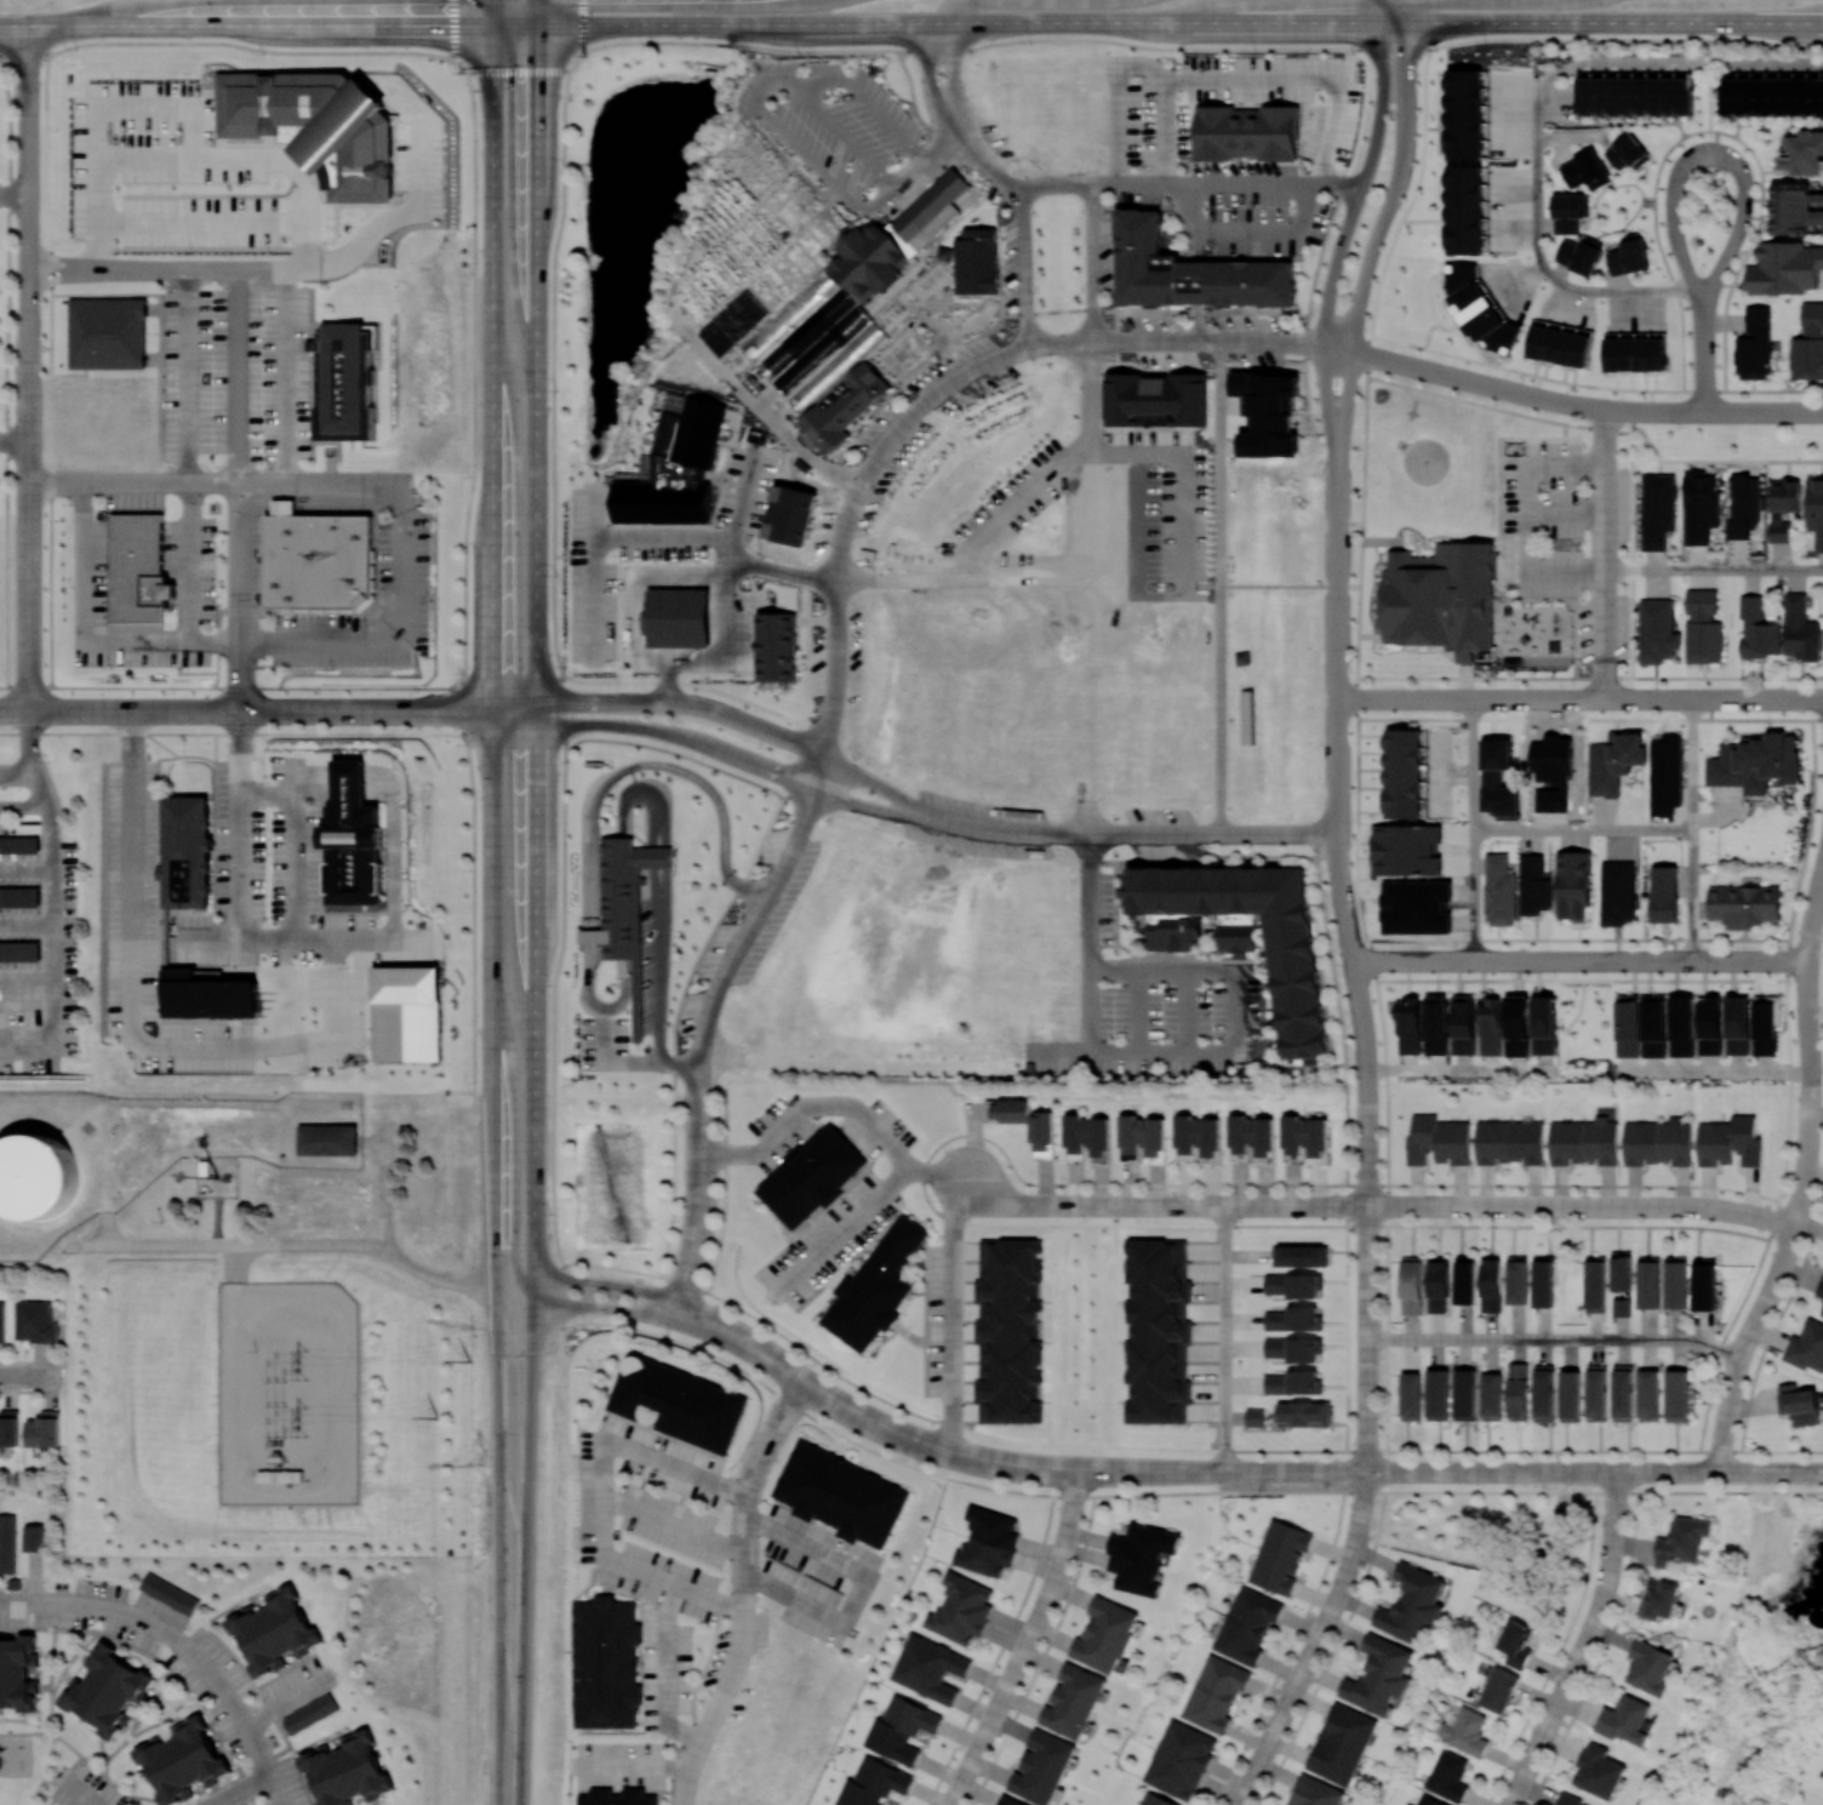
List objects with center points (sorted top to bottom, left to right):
road: (492, 12)
road: (537, 12)
road: (1406, 21)
road: (1179, 23)
road: (245, 24)
traffic signals: (442, 24)
road: (514, 24)
road: (1383, 25)
road: (583, 27)
road: (452, 30)
road: (930, 38)
road: (907, 52)
road: (27, 53)
road: (954, 73)
traffic signals: (537, 80)
road: (810, 80)
road: (1223, 80)
building: (1772, 95)
building: (1634, 96)
road: (1536, 101)
road: (189, 113)
building: (1465, 114)
parking lot: (836, 120)
building: (324, 128)
road: (1167, 130)
building: (1247, 131)
road: (789, 136)
road: (1710, 149)
building: (1627, 152)
building: (1804, 153)
road: (1679, 164)
road: (913, 168)
building: (1585, 170)
road: (1147, 182)
road: (1048, 183)
road: (13, 192)
road: (1669, 199)
road: (1355, 200)
road: (1389, 200)
road: (1647, 201)
parking lot: (1239, 204)
road: (1535, 204)
building: (1795, 207)
building: (1465, 209)
park: (1679, 209)
road: (1594, 210)
building: (1570, 212)
road: (400, 217)
road: (1023, 224)
road: (1246, 230)
road: (1737, 230)
park: (1406, 238)
building: (1579, 255)
building: (1629, 255)
building: (976, 259)
road: (1681, 261)
road: (1741, 264)
building: (1784, 268)
building: (1190, 272)
road: (164, 274)
road: (1198, 285)
road: (1623, 291)
building: (841, 302)
building: (1478, 309)
building: (109, 333)
parking lot: (1204, 338)
road: (1270, 342)
building: (1755, 344)
building: (1808, 344)
building: (1560, 345)
road: (1336, 349)
road: (1702, 350)
building: (1635, 354)
road: (1394, 362)
road: (1471, 382)
road: (1571, 382)
road: (242, 384)
road: (291, 384)
building: (348, 384)
road: (1773, 390)
road: (1090, 395)
road: (29, 396)
building: (1156, 399)
road: (1326, 404)
road: (1572, 404)
building: (845, 406)
road: (1344, 407)
road: (1762, 411)
building: (1268, 412)
road: (1670, 412)
road: (897, 425)
road: (1599, 430)
parking lot: (907, 433)
road: (15, 439)
park: (1731, 440)
road: (804, 449)
road: (1136, 452)
building: (686, 453)
road: (192, 458)
road: (135, 489)
parking lot: (1006, 499)
building: (1699, 505)
building: (1743, 505)
building: (1783, 507)
building: (1815, 508)
building: (664, 510)
building: (1657, 510)
road: (593, 512)
road: (1565, 513)
road: (1527, 515)
parking lot: (1183, 521)
road: (1182, 522)
road: (601, 536)
parking lot: (1570, 539)
road: (1635, 546)
road: (492, 549)
road: (1219, 550)
road: (1604, 553)
road: (730, 556)
building: (319, 560)
building: (136, 567)
road: (1713, 570)
road: (901, 578)
road: (998, 579)
road: (1337, 581)
road: (1271, 587)
road: (629, 592)
building: (1444, 598)
road: (240, 602)
road: (1359, 609)
building: (682, 619)
gas station: (682, 619)
building: (1703, 627)
building: (1758, 629)
building: (1800, 629)
building: (1657, 630)
road: (330, 644)
road: (733, 647)
building: (777, 650)
gas station: (777, 650)
building: (1468, 658)
road: (461, 676)
road: (1590, 679)
road: (229, 686)
road: (1404, 698)
road: (1528, 698)
road: (1612, 698)
road: (1644, 698)
road: (1667, 698)
road: (1687, 698)
road: (556, 699)
road: (1756, 699)
road: (548, 702)
road: (513, 706)
road: (473, 710)
road: (15, 712)
road: (59, 712)
road: (272, 712)
building: (1246, 716)
road: (513, 718)
road: (755, 726)
road: (30, 731)
road: (678, 735)
building: (935, 755)
building: (1615, 761)
road: (1471, 762)
building: (1755, 762)
road: (1336, 766)
road: (19, 771)
road: (818, 773)
building: (1404, 773)
building: (1667, 775)
building: (1498, 776)
road: (40, 778)
road: (1691, 778)
road: (703, 781)
road: (1221, 796)
road: (25, 806)
road: (870, 806)
road: (624, 810)
road: (1528, 828)
road: (1612, 828)
road: (1644, 829)
road: (1669, 829)
road: (1001, 830)
road: (1093, 834)
road: (1167, 834)
road: (1279, 834)
road: (290, 838)
building: (353, 839)
building: (19, 844)
building: (1406, 849)
building: (185, 850)
road: (665, 867)
road: (1822, 867)
road: (653, 875)
building: (1572, 884)
building: (1533, 885)
building: (1499, 890)
road: (393, 892)
building: (625, 892)
building: (1617, 892)
building: (1664, 893)
road: (1471, 895)
building: (19, 896)
road: (588, 896)
road: (598, 897)
road: (1342, 898)
building: (1744, 904)
road: (1691, 909)
road: (535, 914)
road: (1817, 915)
road: (1811, 918)
parking lot: (748, 929)
road: (747, 931)
building: (1247, 932)
building: (592, 935)
road: (56, 948)
building: (21, 950)
road: (1412, 961)
road: (1556, 961)
road: (1724, 963)
building: (624, 966)
road: (1234, 970)
road: (1581, 979)
road: (1806, 990)
road: (624, 992)
road: (588, 994)
building: (207, 995)
building: (636, 999)
parking lot: (1148, 1001)
road: (1578, 1007)
road: (1137, 1009)
road: (1185, 1009)
road: (1088, 1010)
road: (600, 1012)
building: (407, 1013)
road: (658, 1019)
road: (1360, 1022)
building: (1463, 1023)
building: (1766, 1023)
building: (1436, 1024)
building: (1516, 1024)
building: (1543, 1024)
building: (1737, 1024)
building: (1408, 1026)
building: (1628, 1026)
building: (1653, 1026)
building: (1682, 1026)
building: (1709, 1026)
building: (1490, 1027)
road: (601, 1039)
road: (274, 1041)
road: (1810, 1050)
park: (1816, 1050)
road: (635, 1061)
road: (685, 1063)
road: (1459, 1070)
road: (1715, 1073)
road: (1385, 1083)
road: (1789, 1091)
road: (807, 1104)
building: (1042, 1131)
building: (1142, 1136)
building: (1088, 1138)
building: (1252, 1138)
building: (327, 1139)
building: (1199, 1139)
building: (1305, 1139)
road: (371, 1141)
building: (1438, 1141)
building: (1509, 1142)
building: (1584, 1142)
building: (1657, 1142)
building: (1728, 1142)
road: (1367, 1143)
road: (1808, 1155)
road: (925, 1164)
building: (205, 1167)
road: (935, 1172)
building: (36, 1176)
storage tank: (36, 1176)
building: (812, 1176)
park: (628, 1182)
road: (384, 1183)
road: (107, 1188)
road: (885, 1188)
road: (701, 1196)
road: (1092, 1205)
road: (1296, 1205)
road: (1582, 1206)
parking lot: (858, 1217)
road: (218, 1219)
road: (107, 1228)
road: (884, 1229)
road: (170, 1243)
building: (70, 1244)
road: (93, 1244)
road: (367, 1244)
road: (819, 1250)
building: (1302, 1256)
road: (516, 1259)
road: (234, 1262)
building: (1622, 1270)
road: (544, 1278)
building: (1464, 1279)
building: (1516, 1279)
building: (1543, 1281)
building: (1648, 1281)
building: (1675, 1281)
building: (1491, 1283)
road: (619, 1284)
building: (1292, 1284)
building: (1438, 1284)
building: (1595, 1284)
building: (1704, 1284)
building: (1412, 1285)
building: (875, 1286)
building: (1819, 1289)
road: (1771, 1291)
road: (619, 1307)
building: (1622, 1307)
building: (1822, 1312)
road: (951, 1313)
building: (1293, 1318)
building: (1, 1320)
building: (34, 1321)
building: (1010, 1330)
building: (1159, 1331)
road: (1053, 1336)
road: (1116, 1336)
road: (1224, 1338)
road: (1366, 1338)
road: (1555, 1340)
road: (742, 1341)
building: (1806, 1347)
building: (1292, 1348)
road: (510, 1353)
power tower: (469, 1361)
power tower: (302, 1363)
road: (33, 1377)
building: (1293, 1382)
building: (1518, 1390)
power substation: (288, 1392)
building: (1544, 1393)
building: (1596, 1393)
building: (1623, 1393)
building: (1438, 1394)
building: (1465, 1394)
building: (1648, 1394)
building: (1411, 1395)
building: (1492, 1395)
building: (1570, 1395)
building: (1676, 1395)
road: (880, 1398)
building: (679, 1403)
building: (1799, 1404)
road: (1728, 1412)
building: (1303, 1413)
power tower: (436, 1416)
building: (1256, 1416)
power tower: (301, 1420)
road: (873, 1423)
building: (10, 1427)
building: (45, 1429)
road: (768, 1439)
road: (496, 1440)
road: (1524, 1450)
road: (1082, 1472)
road: (1221, 1472)
road: (1295, 1472)
road: (1493, 1472)
road: (1669, 1473)
road: (1733, 1473)
road: (1785, 1473)
building: (281, 1475)
road: (605, 1493)
building: (840, 1493)
road: (1162, 1493)
road: (1364, 1504)
road: (1616, 1518)
road: (675, 1526)
park: (1508, 1536)
building: (34, 1537)
building: (7, 1542)
building: (988, 1542)
building: (1682, 1542)
building: (1279, 1555)
road: (1522, 1555)
building: (1141, 1558)
road: (34, 1577)
road: (1344, 1578)
road: (861, 1587)
building: (170, 1593)
building: (1661, 1599)
road: (17, 1601)
building: (1412, 1604)
road: (1600, 1607)
building: (961, 1609)
building: (1246, 1624)
building: (275, 1630)
building: (1105, 1634)
road: (1028, 1641)
road: (1291, 1641)
building: (1515, 1643)
road: (181, 1647)
road: (1332, 1651)
road: (999, 1652)
road: (1581, 1656)
road: (739, 1660)
park: (1762, 1661)
building: (606, 1662)
building: (1648, 1667)
building: (928, 1668)
road: (664, 1670)
building: (18, 1672)
building: (1379, 1677)
building: (108, 1690)
building: (1498, 1690)
building: (1215, 1692)
road: (287, 1698)
building: (1073, 1701)
building: (310, 1712)
road: (1284, 1712)
building: (1624, 1720)
building: (902, 1729)
building: (1465, 1731)
road: (1544, 1733)
building: (1342, 1743)
building: (1179, 1759)
building: (183, 1760)
road: (636, 1767)
building: (1041, 1767)
building: (348, 1770)
building: (1598, 1771)
building: (1447, 1775)
building: (874, 1783)
road: (240, 1790)
road: (275, 1790)
road: (76, 1792)
building: (1314, 1792)
building: (617, 1797)
building: (1568, 1799)
building: (1154, 1800)
building: (1429, 1800)
building: (1010, 1801)
building: (1407, 1804)

